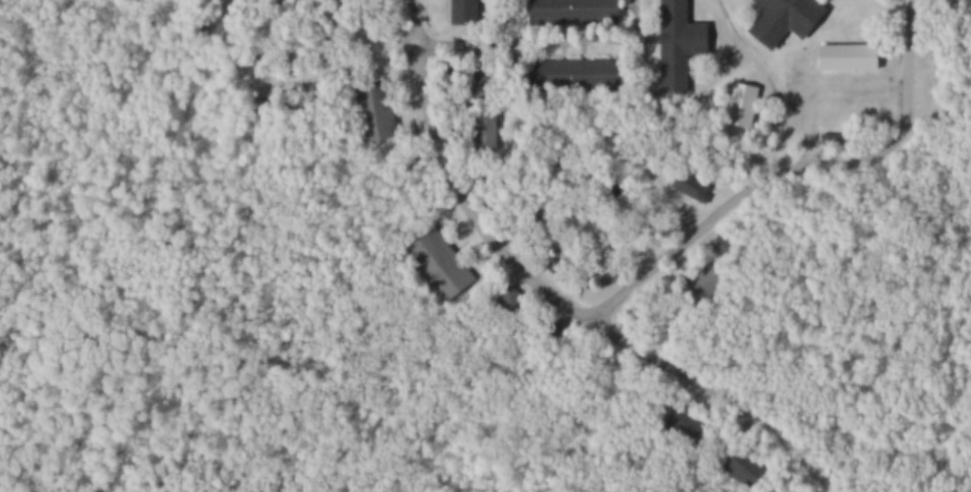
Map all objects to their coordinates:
road: (408, 8)
building: (457, 8)
building: (543, 9)
building: (589, 9)
building: (791, 19)
road: (729, 27)
road: (356, 29)
road: (538, 38)
building: (669, 41)
building: (544, 71)
building: (590, 71)
road: (274, 79)
road: (824, 87)
parking lot: (821, 89)
road: (774, 92)
building: (367, 106)
road: (787, 164)
road: (494, 243)
park: (485, 246)
building: (429, 259)
road: (772, 428)

